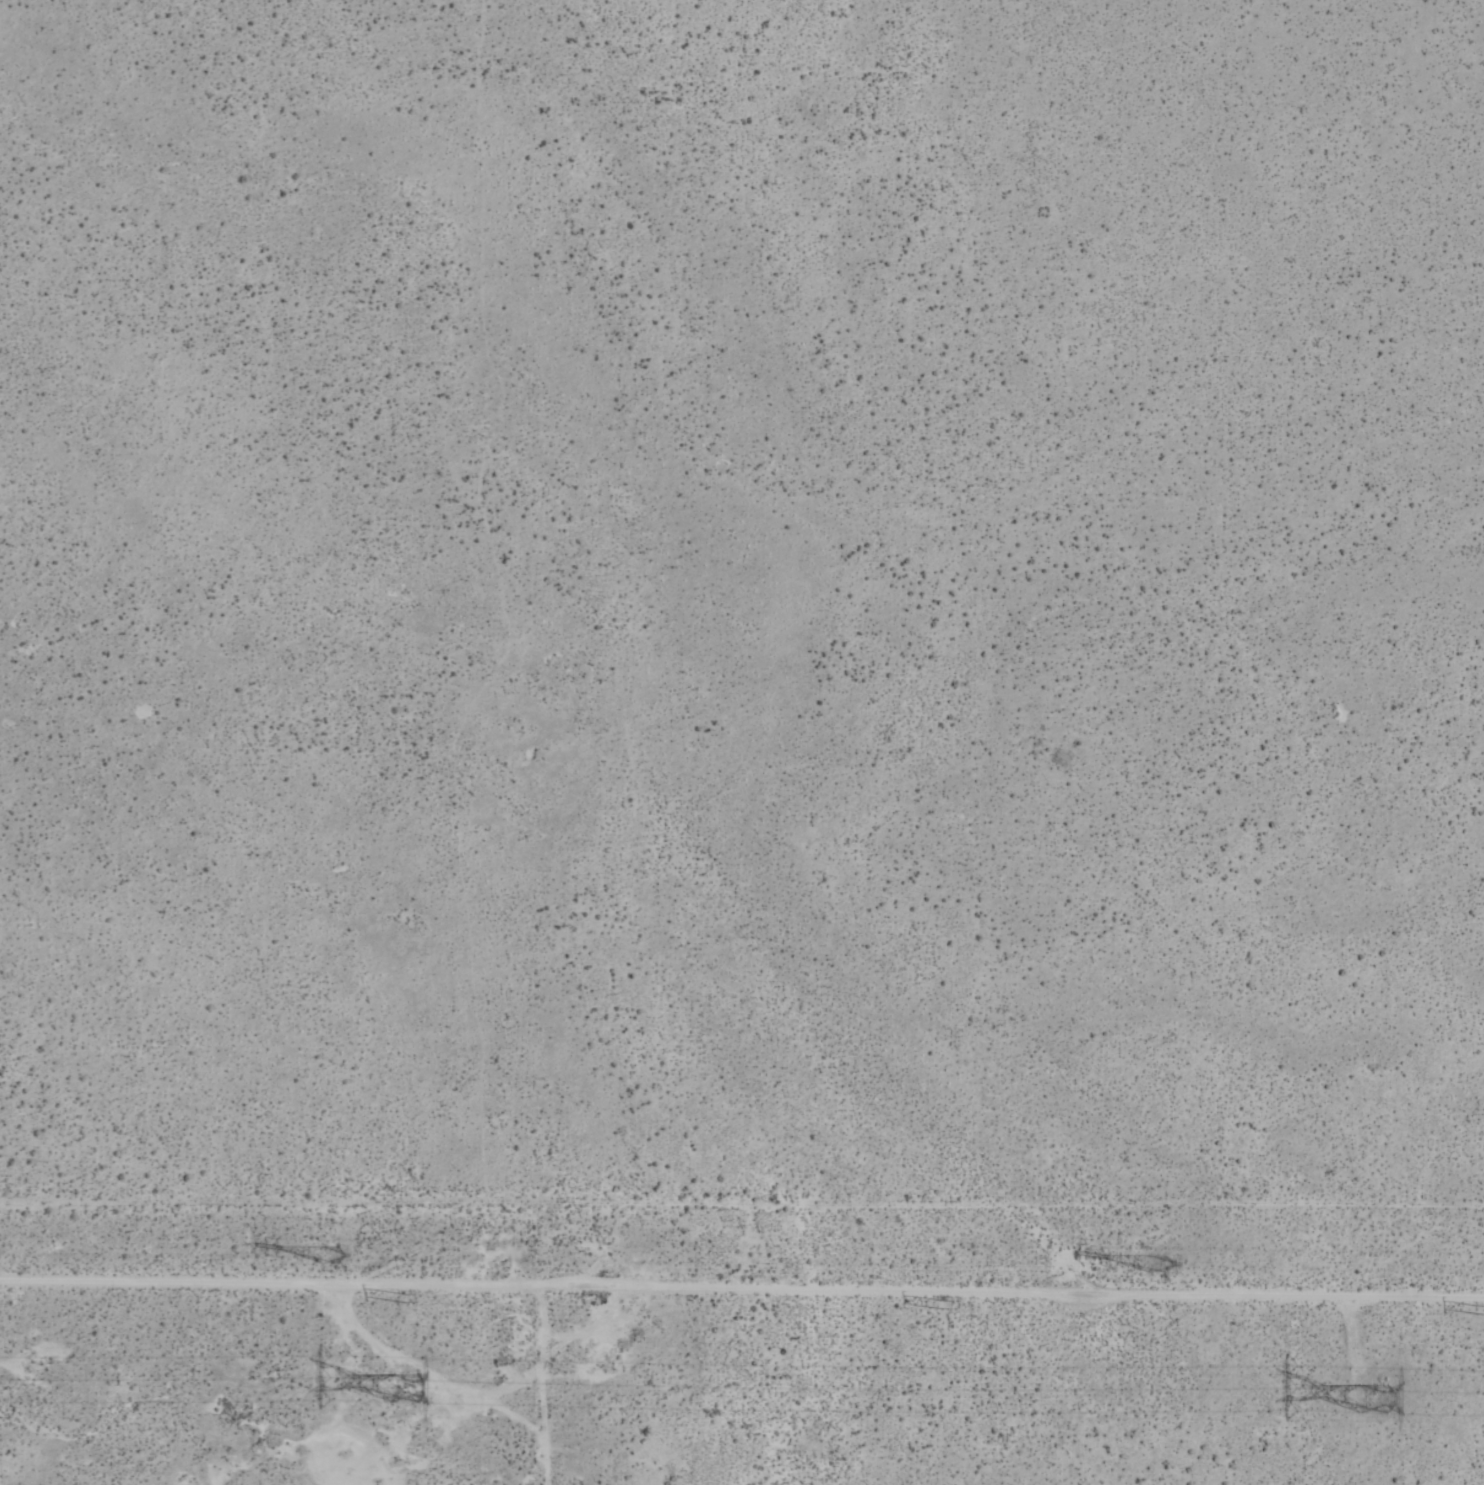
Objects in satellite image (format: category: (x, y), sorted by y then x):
road: (44, 305)
power tower: (324, 1256)
power tower: (1153, 1263)
road: (742, 1287)
power tower: (400, 1296)
power tower: (937, 1304)
power tower: (1476, 1310)
power tower: (392, 1378)
power tower: (1361, 1400)

